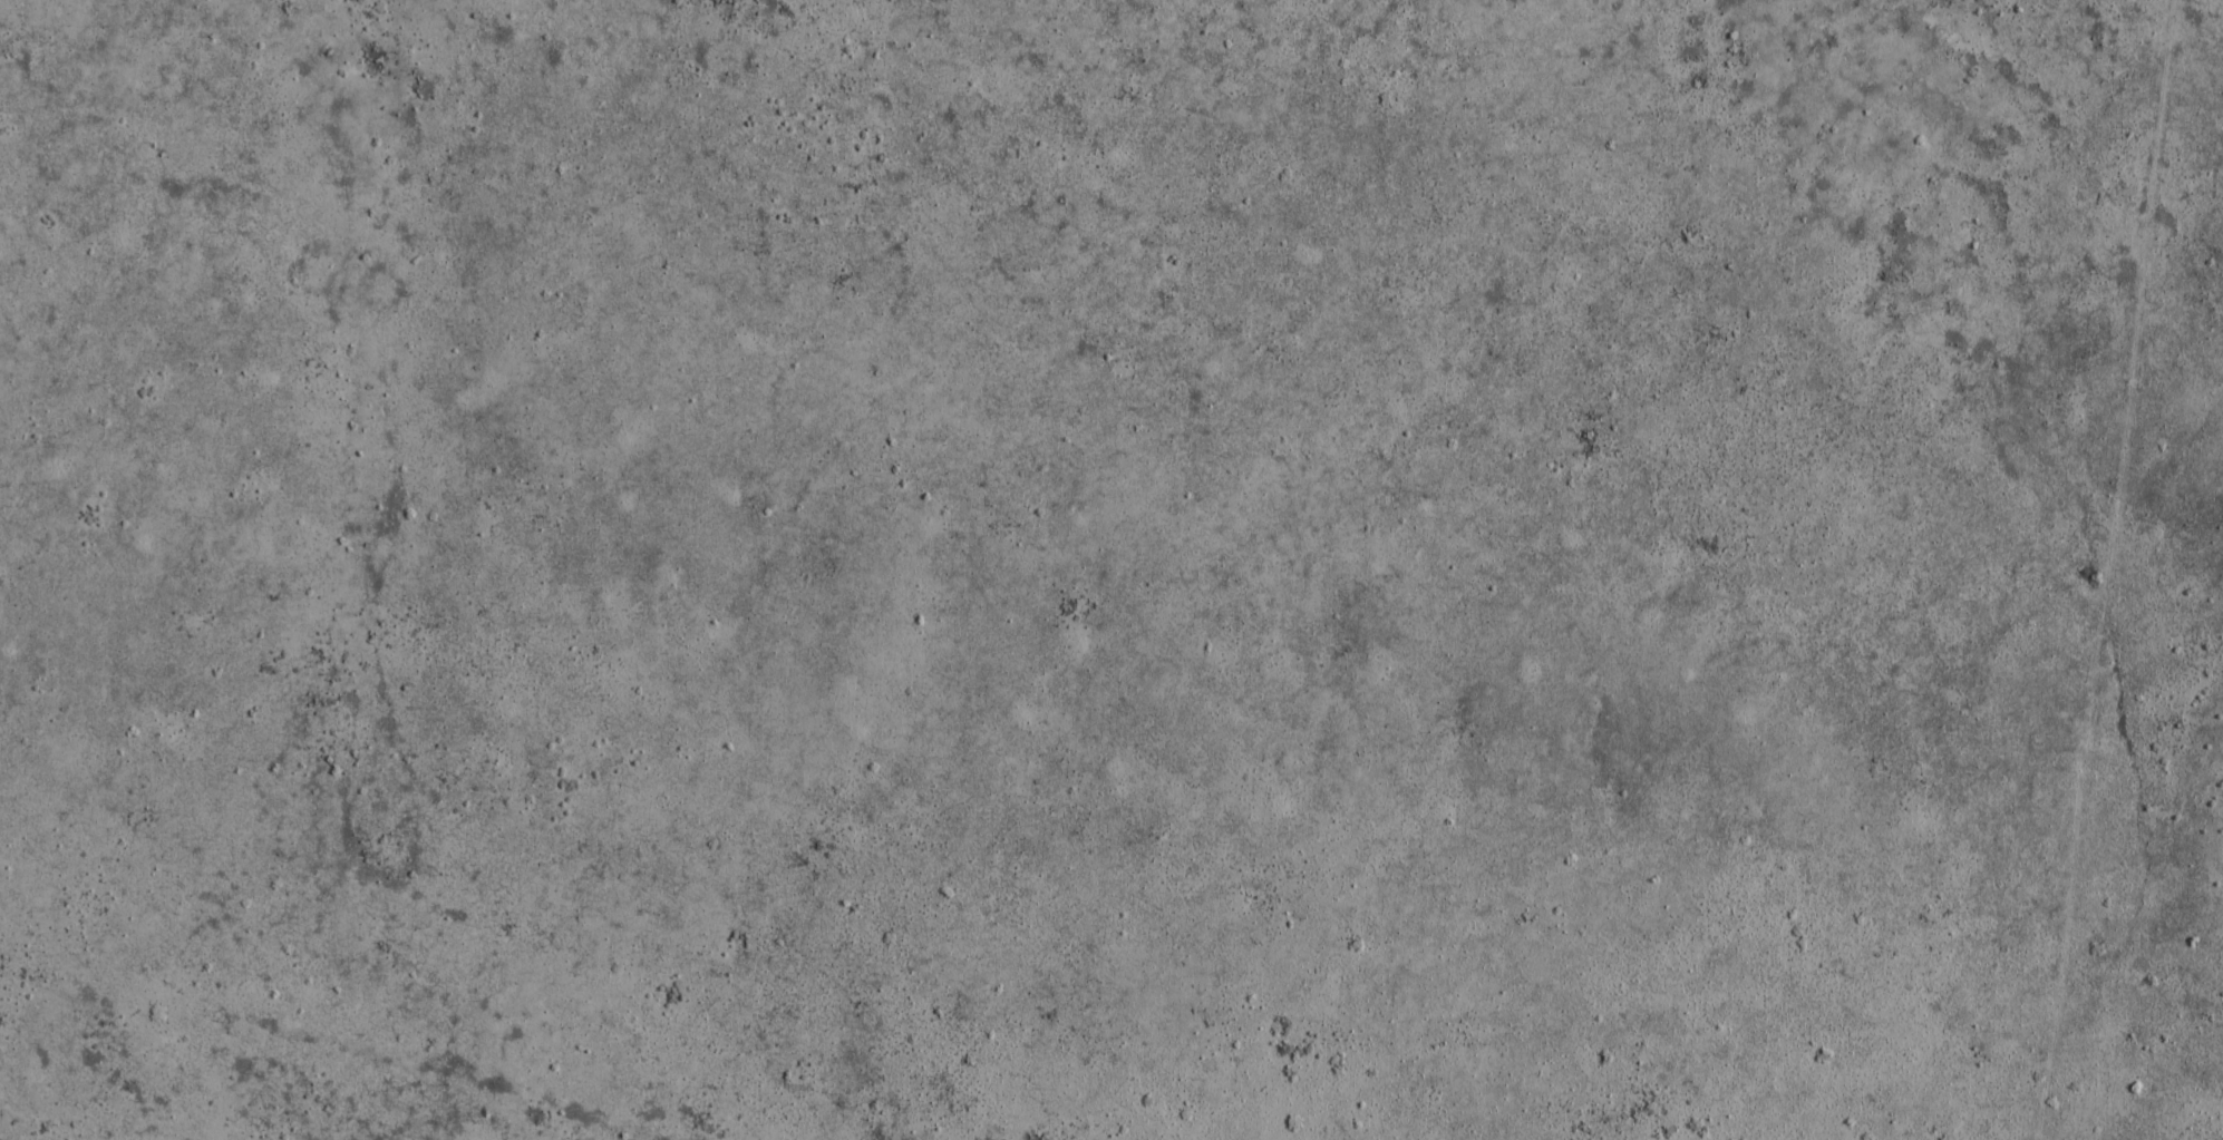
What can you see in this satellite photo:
road: (2109, 569)

